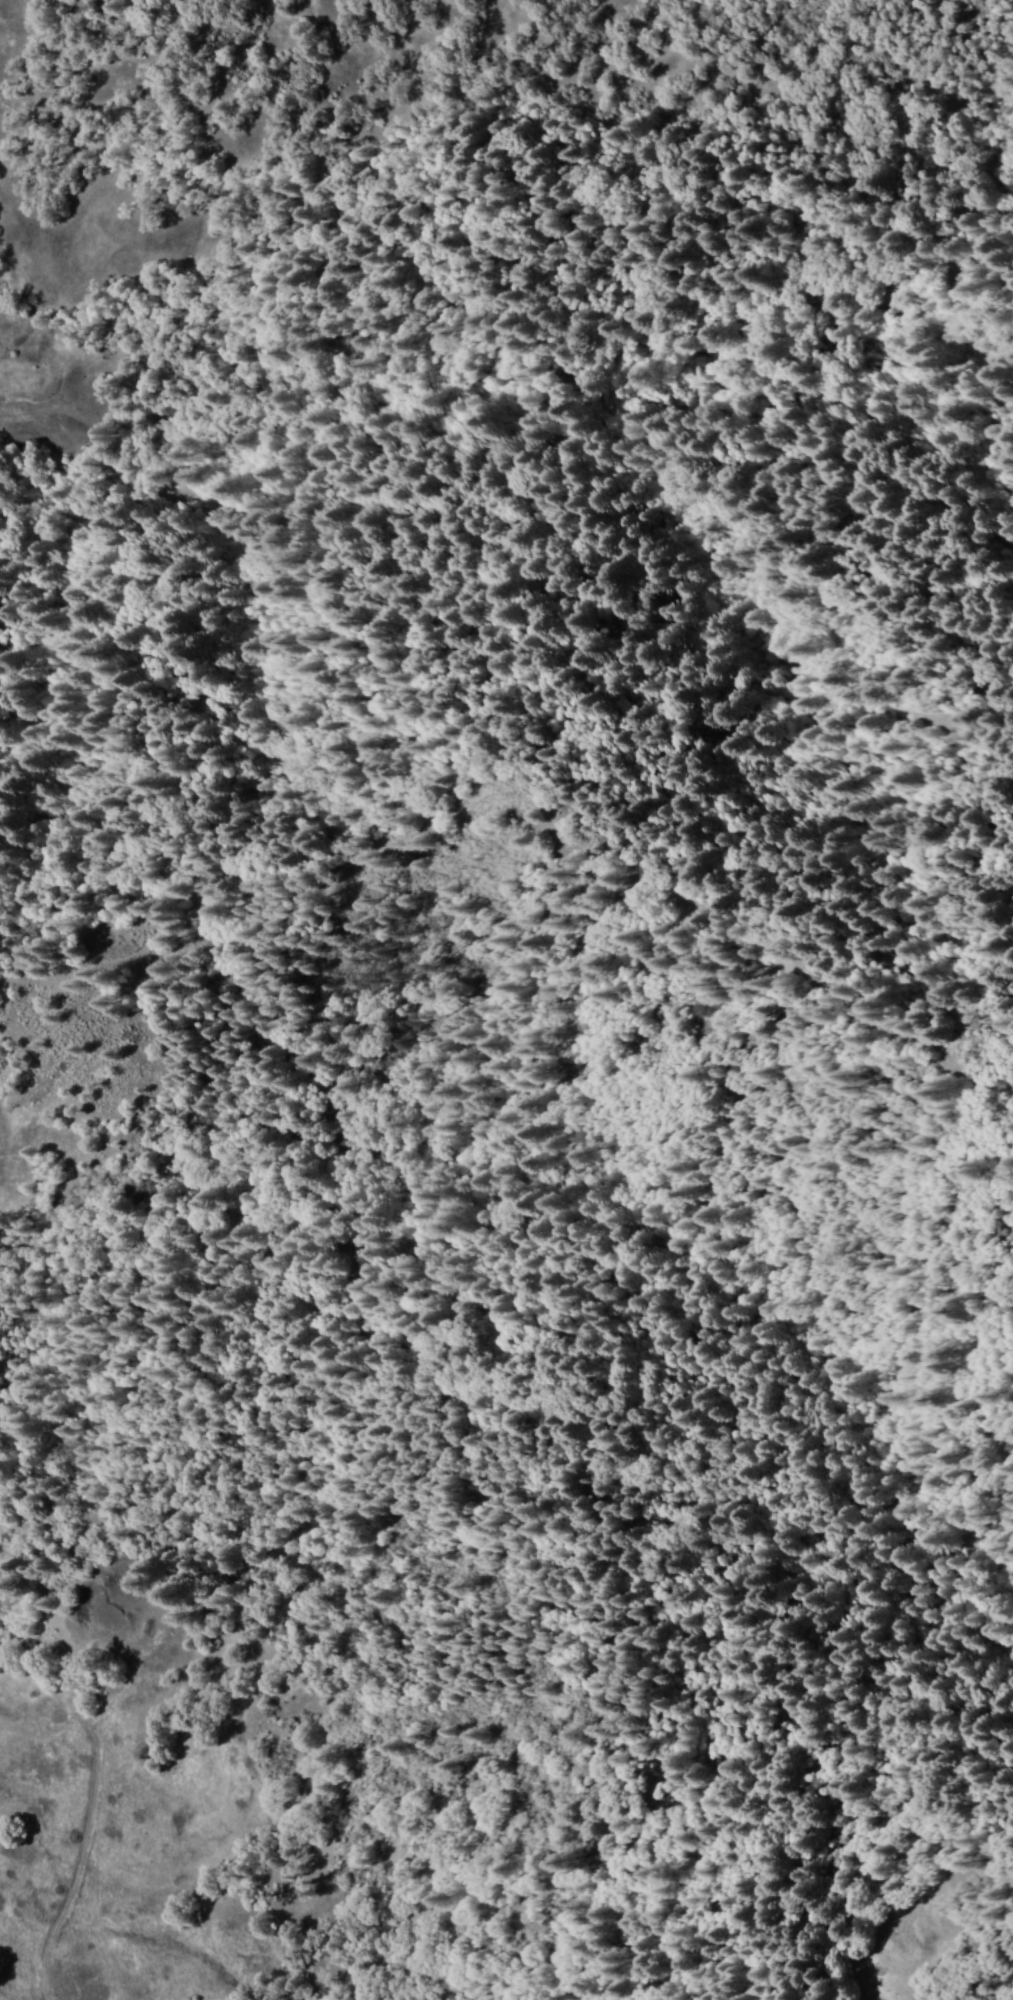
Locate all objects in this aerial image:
road: (98, 1783)

